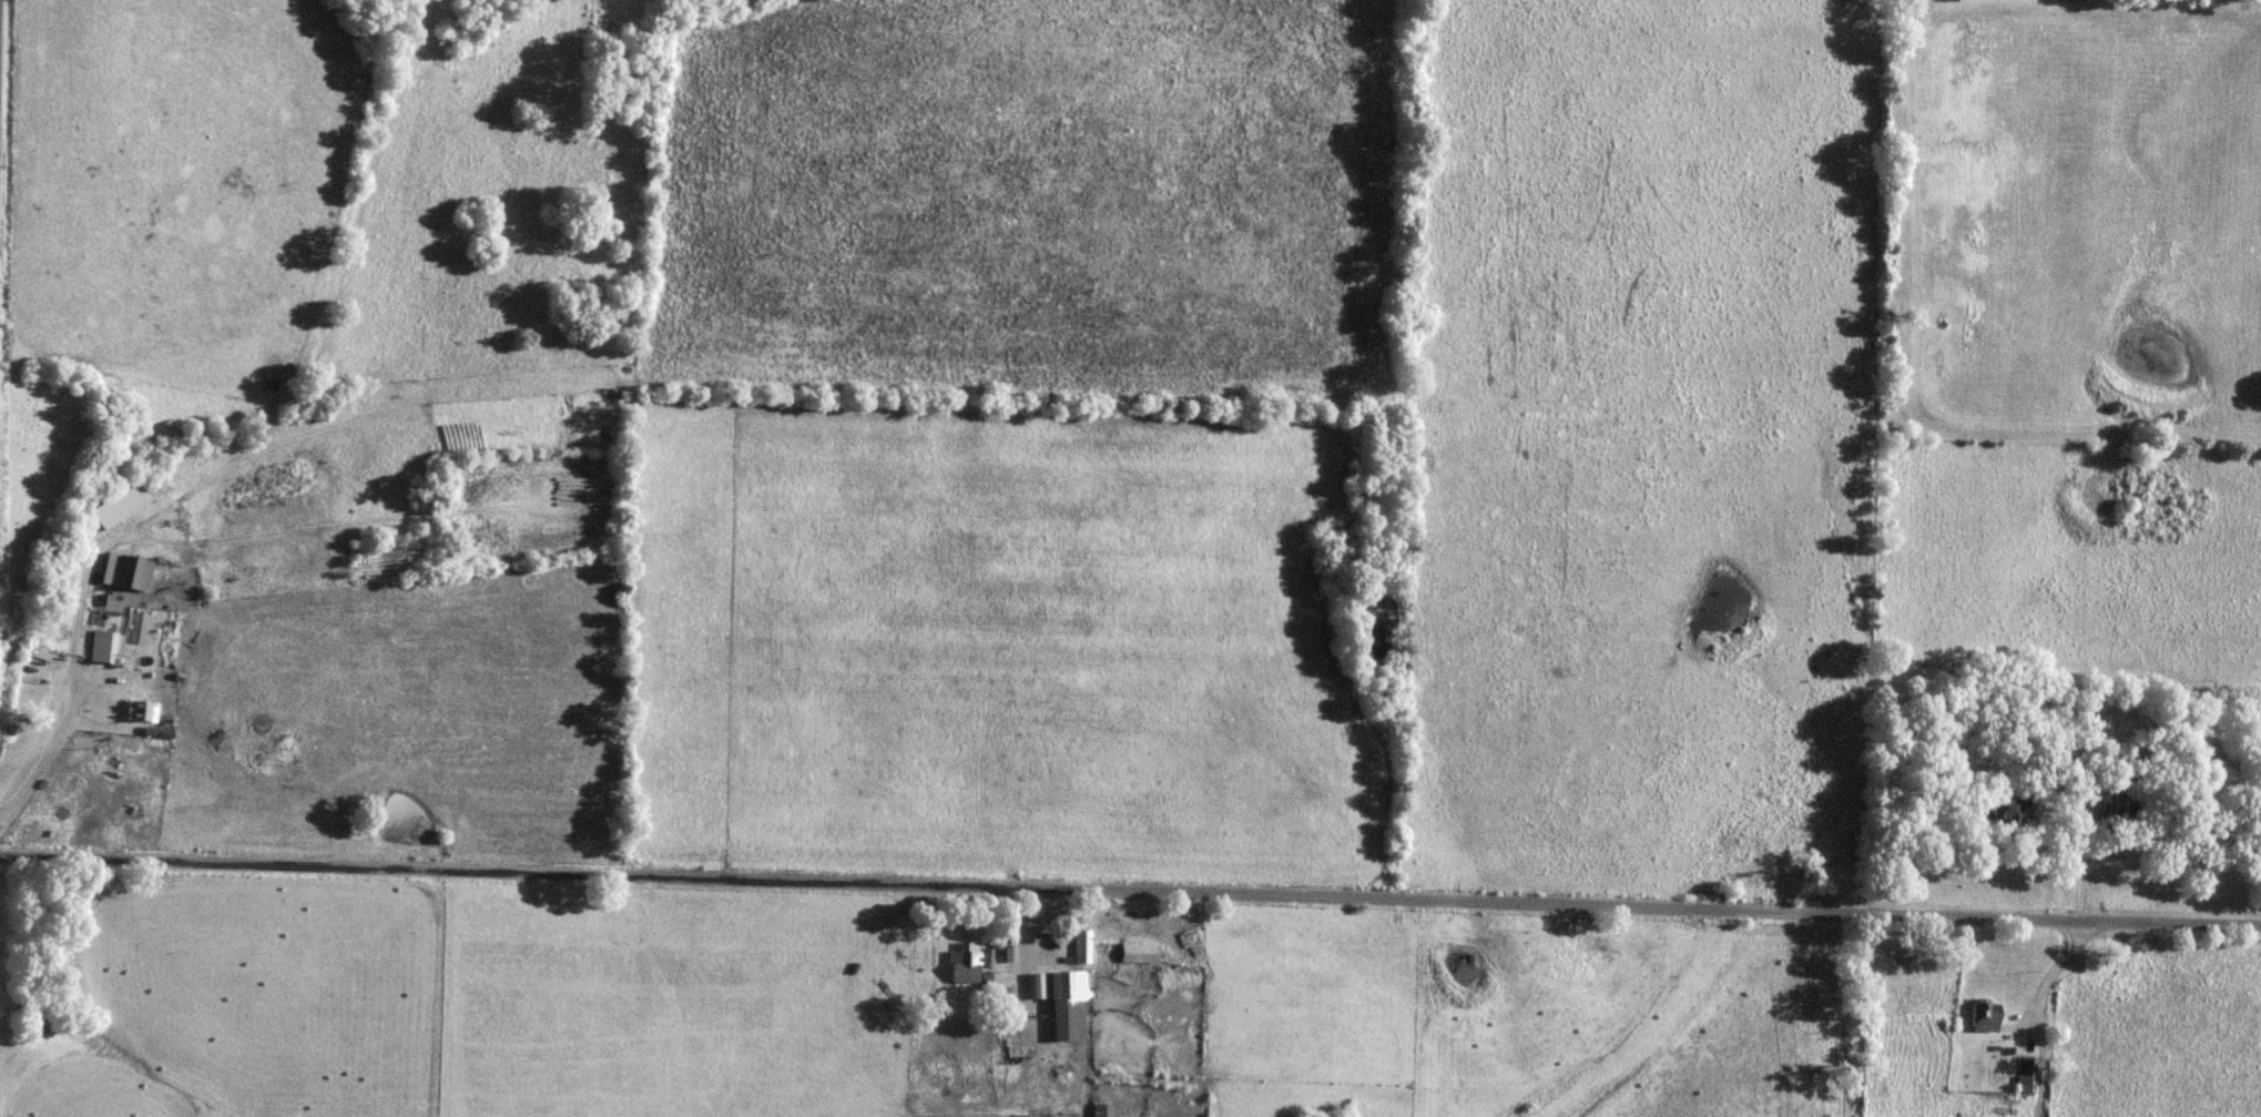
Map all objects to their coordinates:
building: (131, 573)
building: (169, 638)
building: (102, 646)
building: (142, 711)
road: (64, 734)
building: (2120, 802)
building: (2008, 808)
road: (1130, 894)
building: (1045, 911)
building: (1058, 936)
building: (1080, 945)
building: (1137, 952)
building: (963, 963)
building: (1063, 1003)
building: (1004, 1008)
road: (1032, 1011)
road: (2033, 1015)
building: (1986, 1017)
building: (2024, 1076)
building: (1101, 1109)

